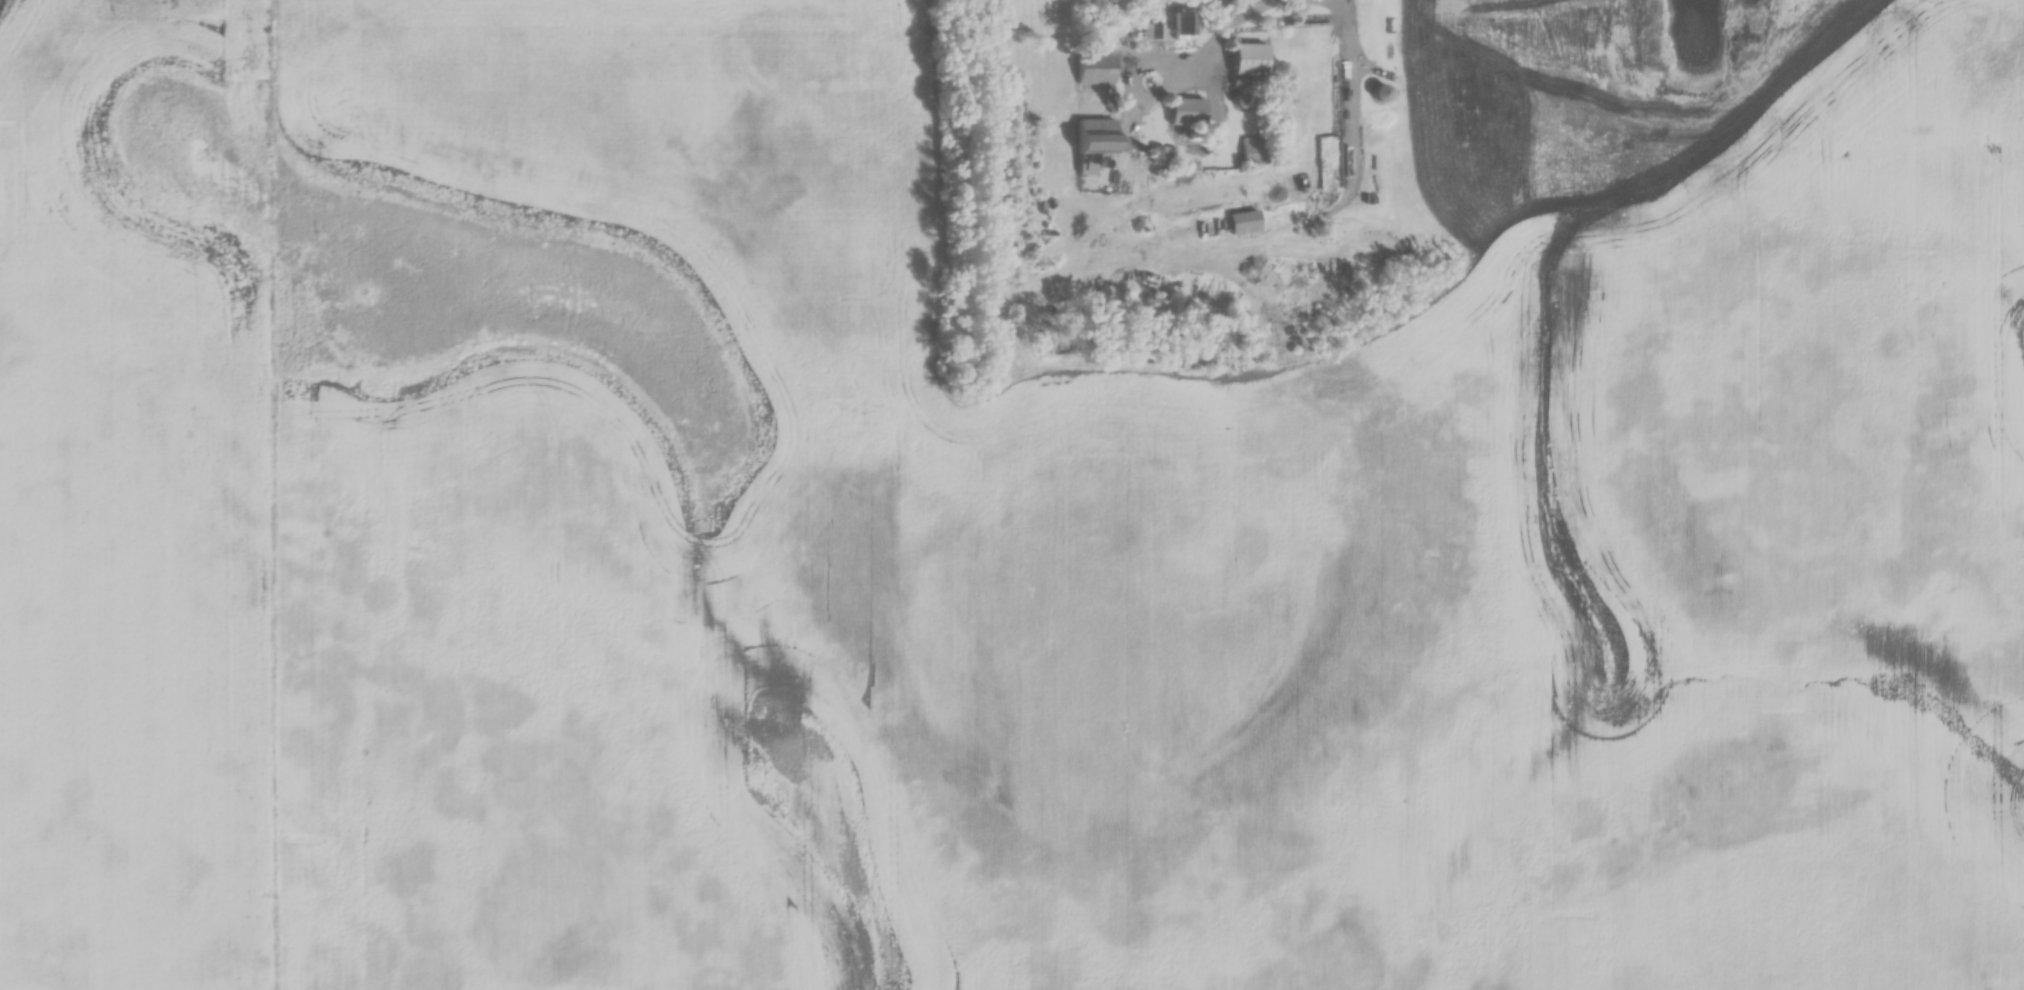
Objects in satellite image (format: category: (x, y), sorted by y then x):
building: (1180, 24)
road: (1229, 29)
building: (1249, 57)
building: (1096, 67)
building: (1381, 91)
road: (1151, 94)
road: (1355, 100)
building: (1187, 110)
building: (1098, 134)
building: (1254, 149)
building: (1160, 151)
building: (1245, 220)
crop: (137, 497)
crop: (1144, 530)

